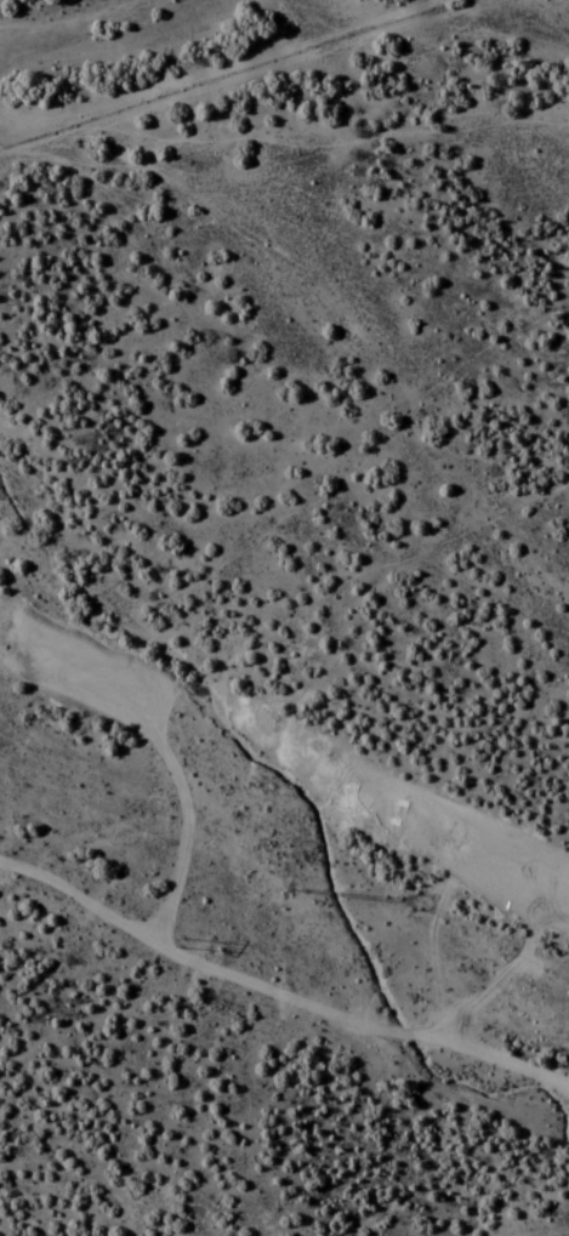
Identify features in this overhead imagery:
power tower: (294, 887)

